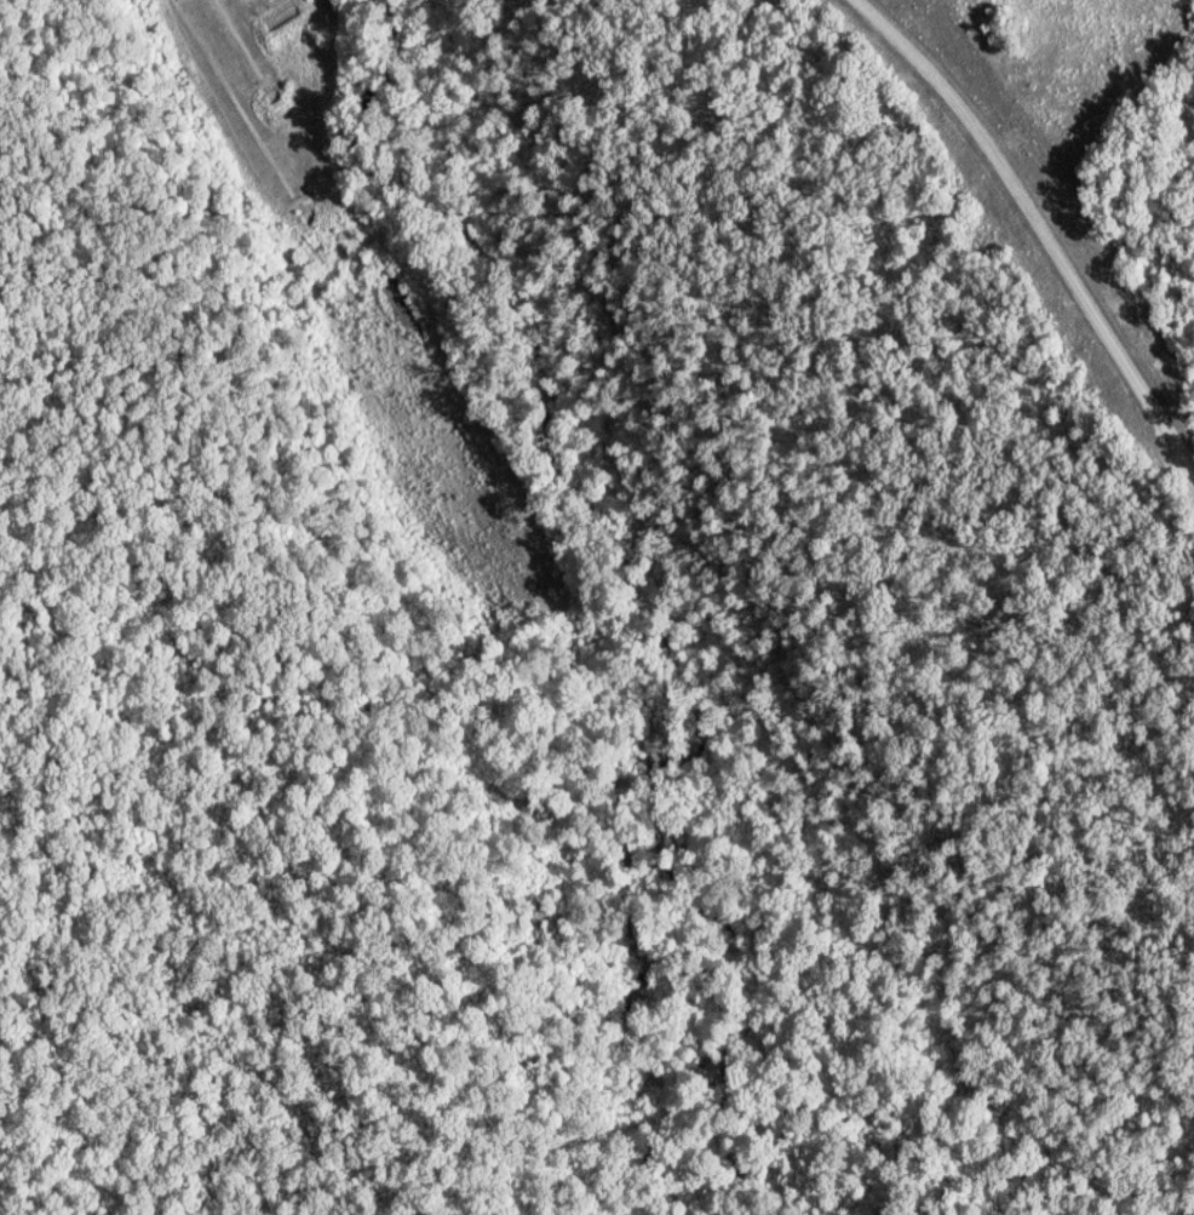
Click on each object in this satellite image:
road: (1038, 217)

